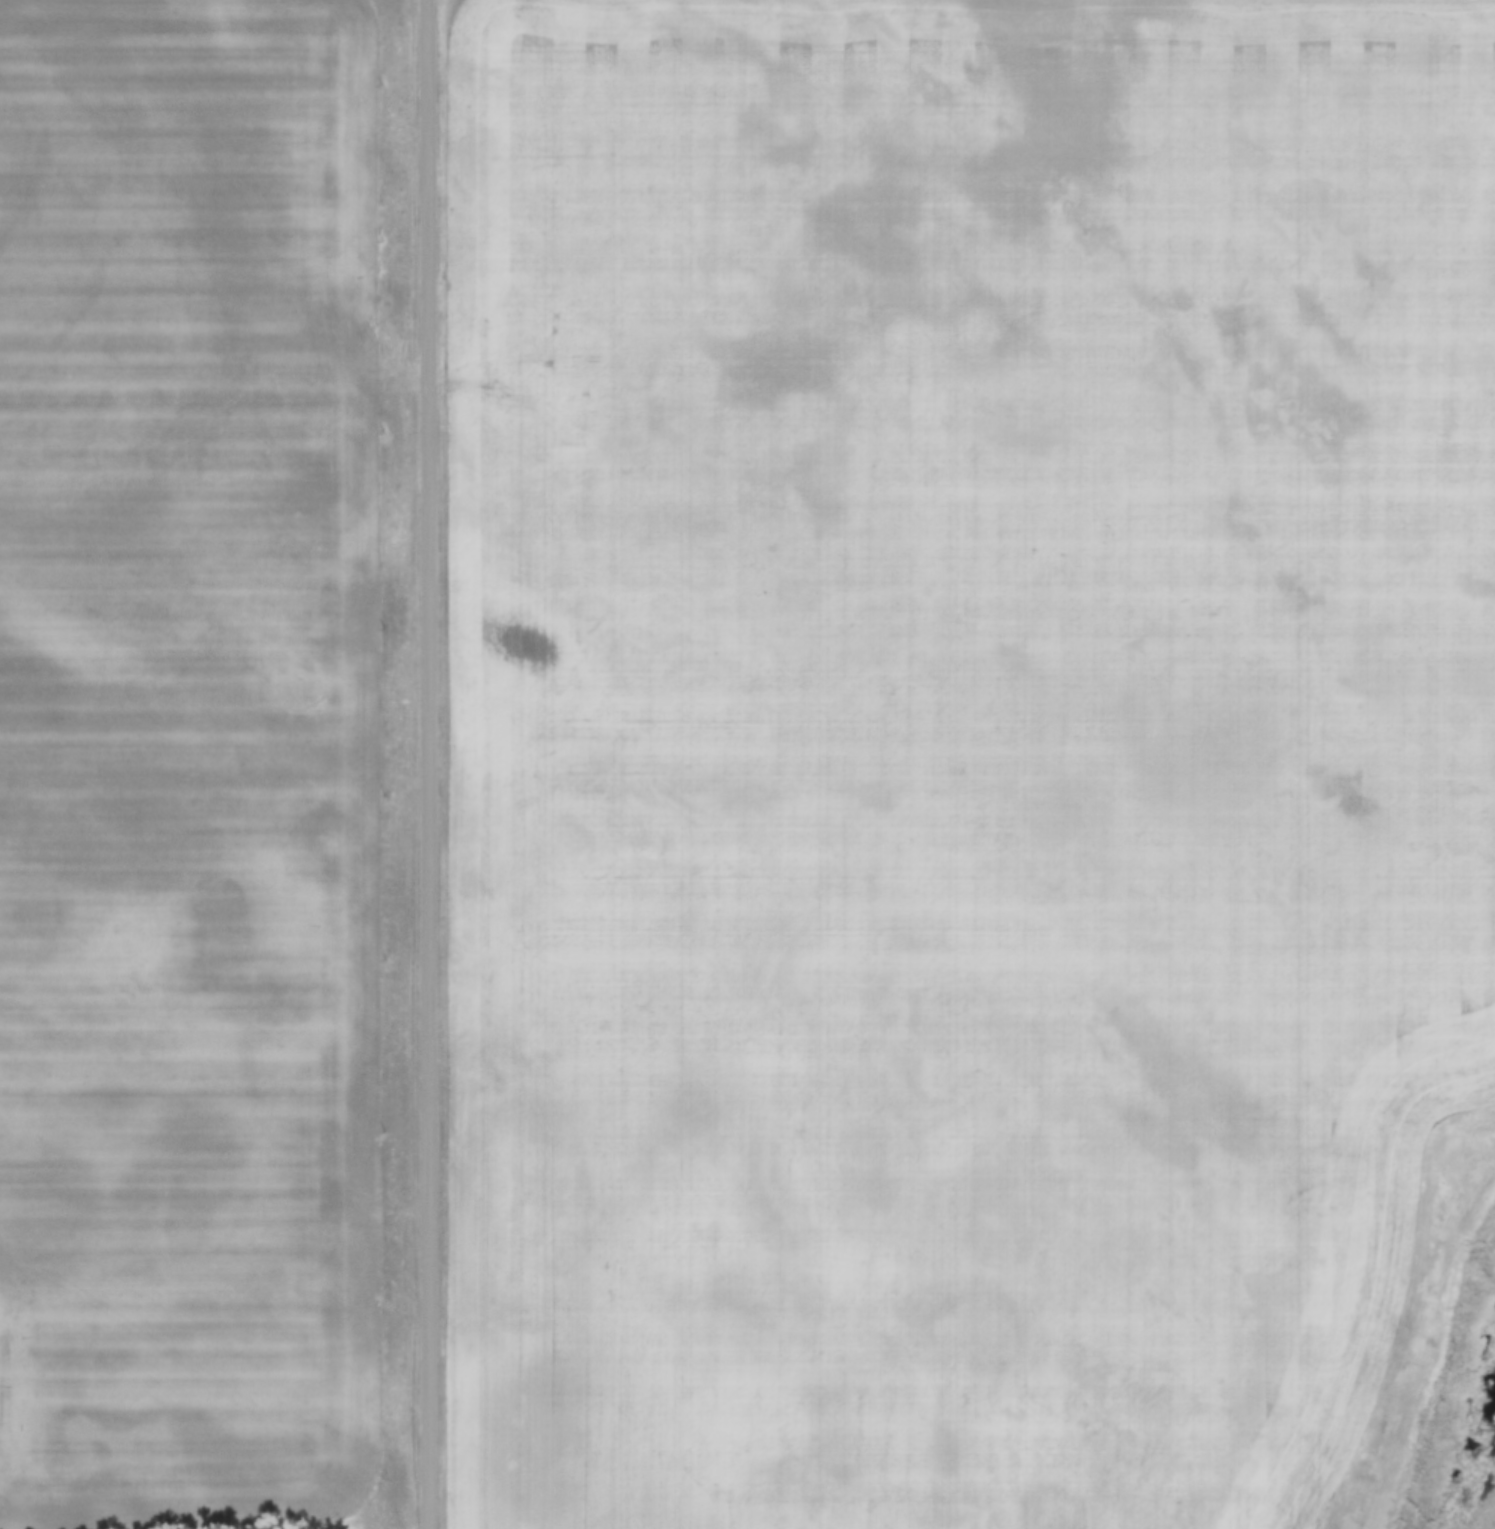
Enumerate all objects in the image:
road: (427, 764)

